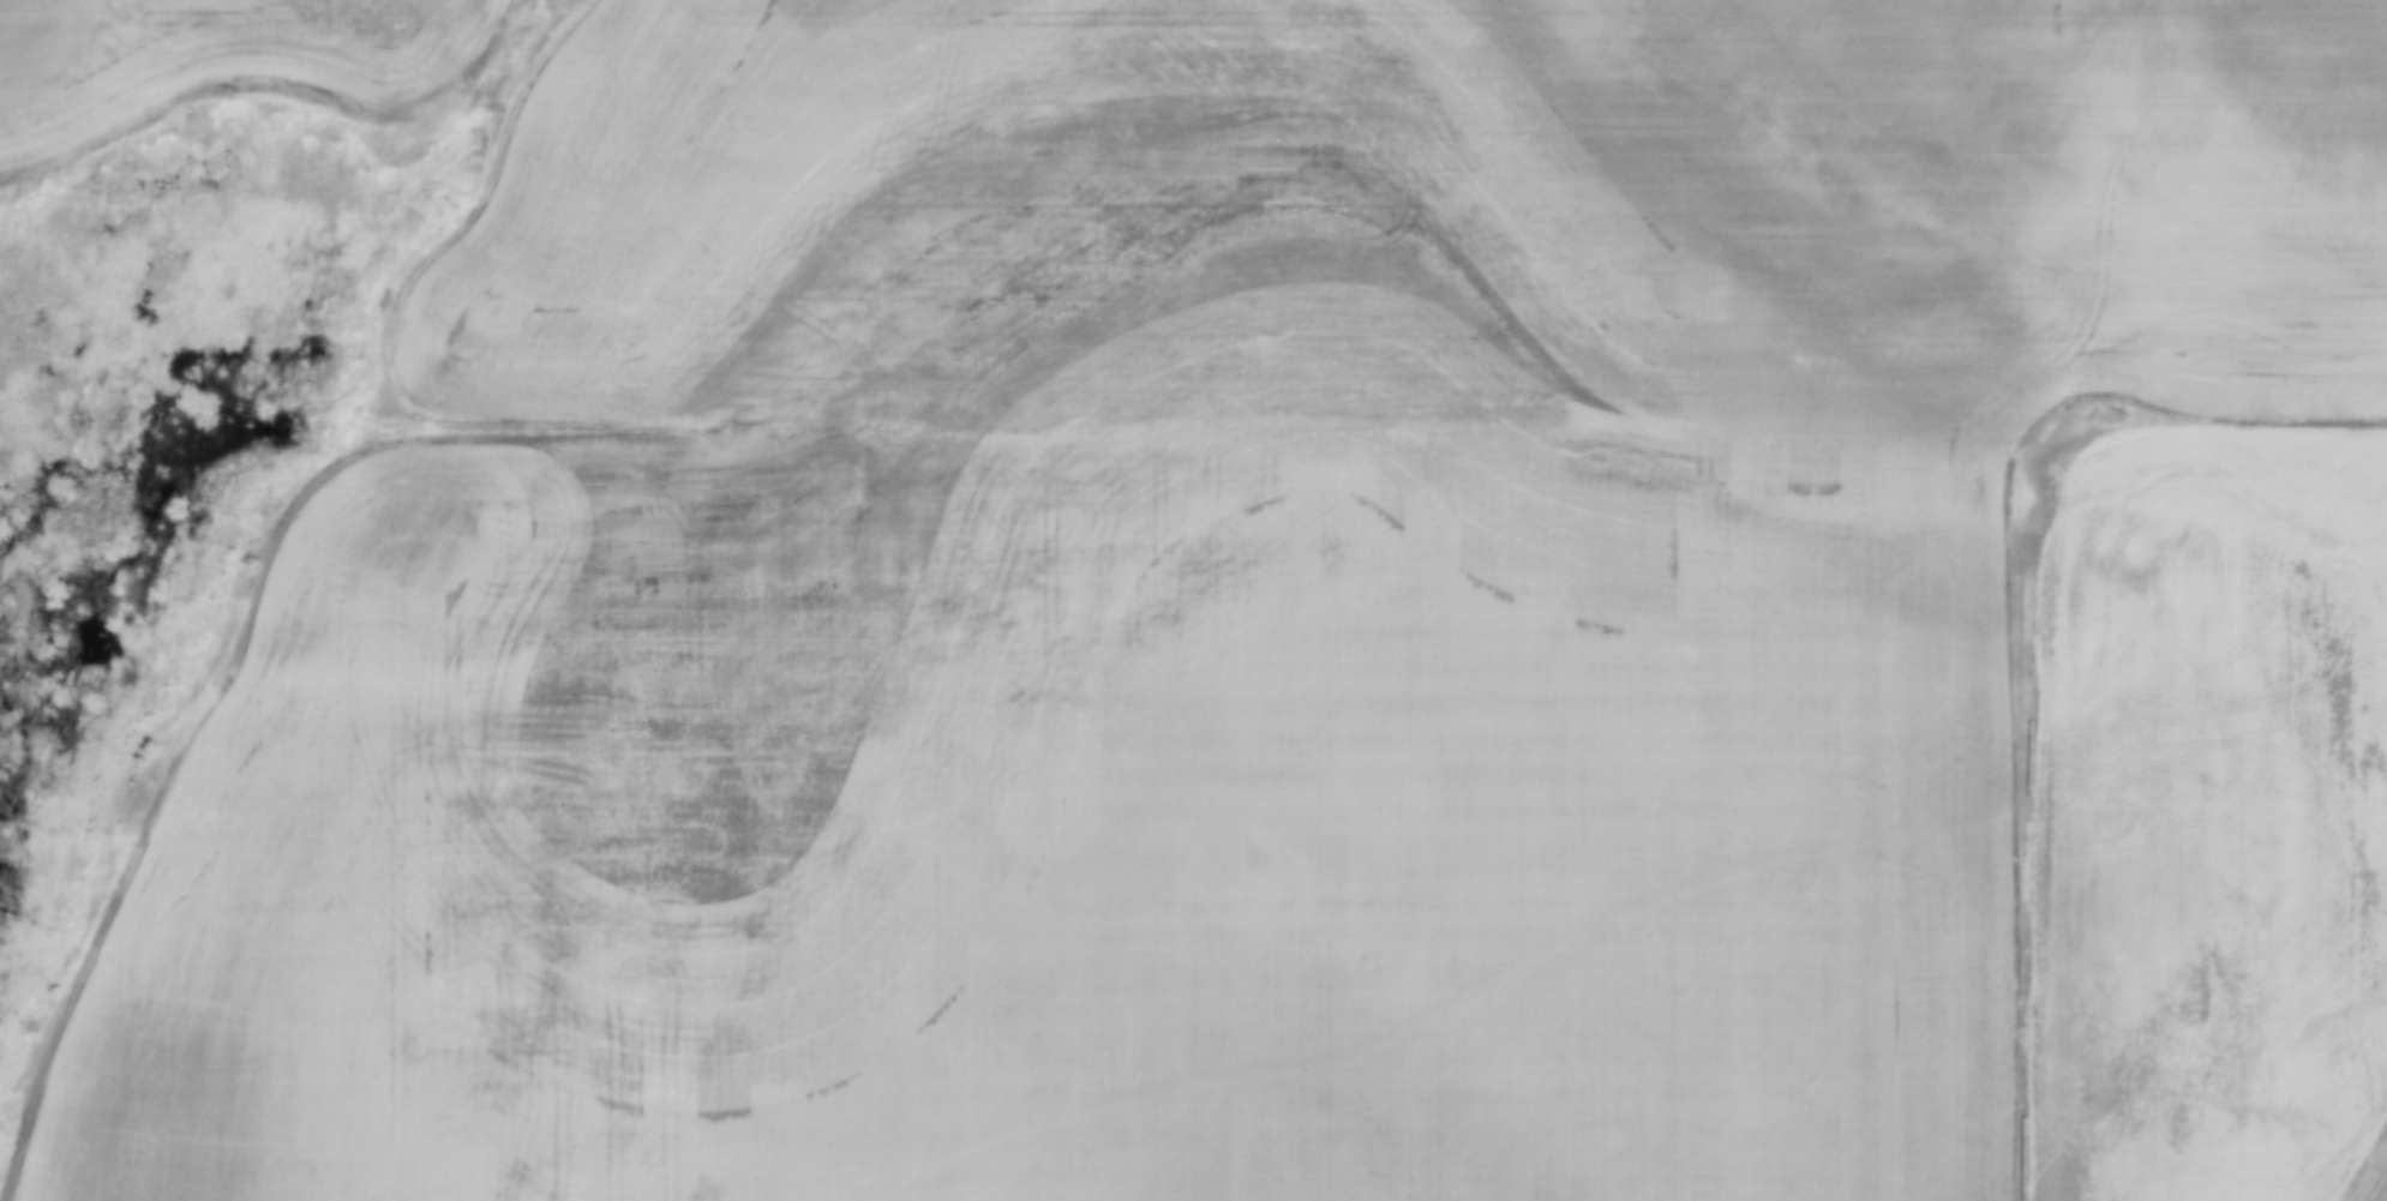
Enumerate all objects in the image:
road: (2386, 1200)

